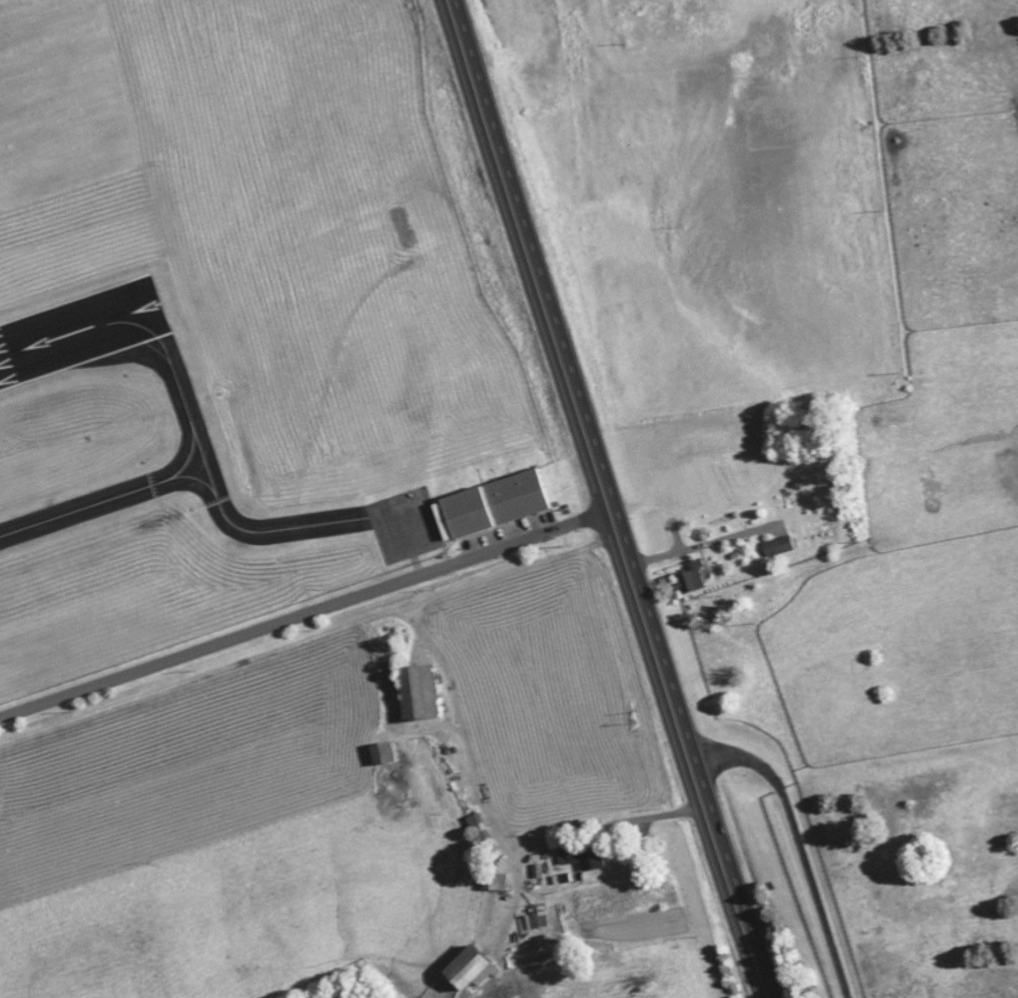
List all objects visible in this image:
airport runway: (80, 330)
airport taxiway: (181, 468)
road: (610, 499)
building: (494, 503)
airport taxiway: (254, 532)
building: (784, 544)
building: (691, 577)
road: (307, 615)
building: (418, 692)
building: (382, 753)
building: (584, 858)
building: (498, 881)
building: (541, 915)
building: (470, 968)

